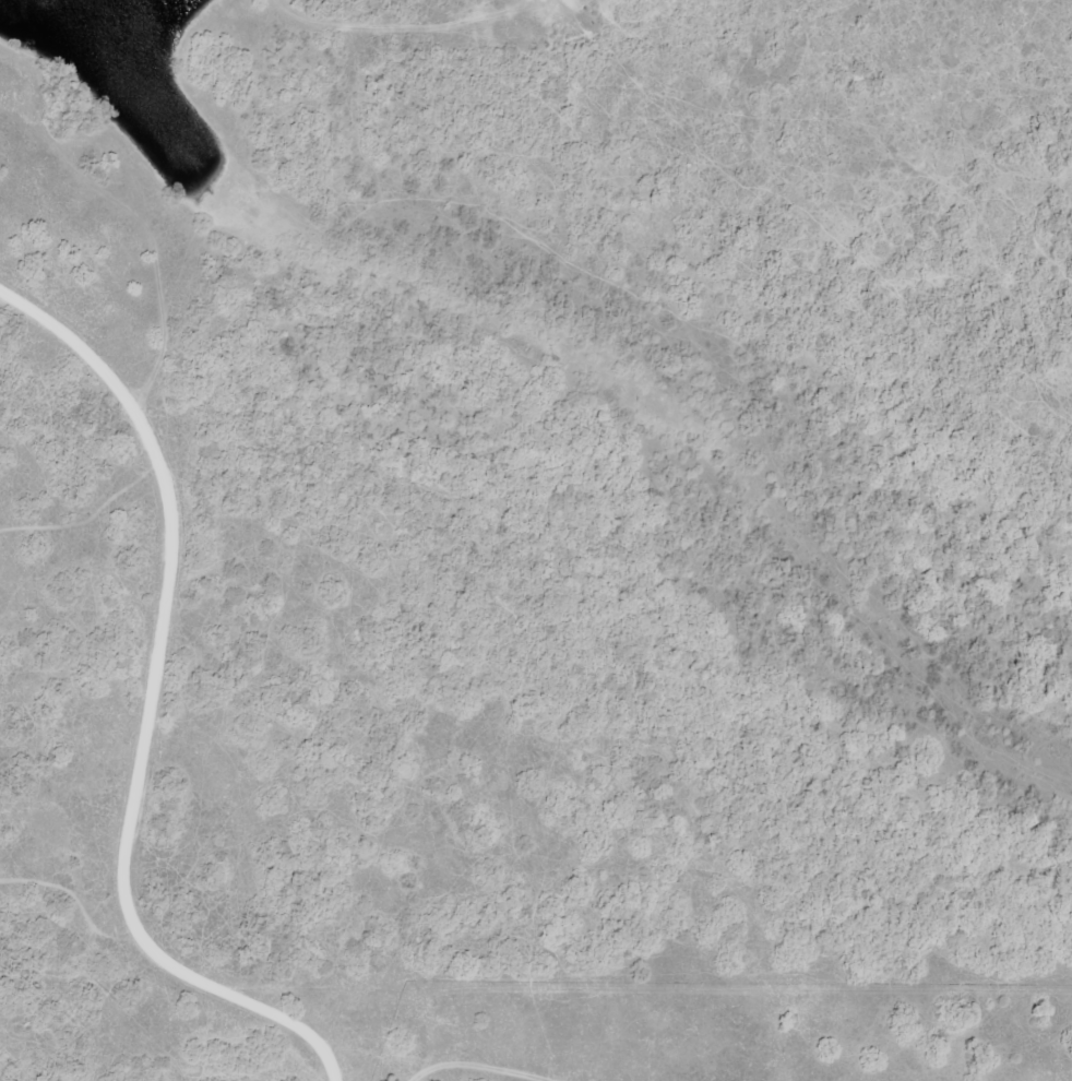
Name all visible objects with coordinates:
road: (441, 965)

